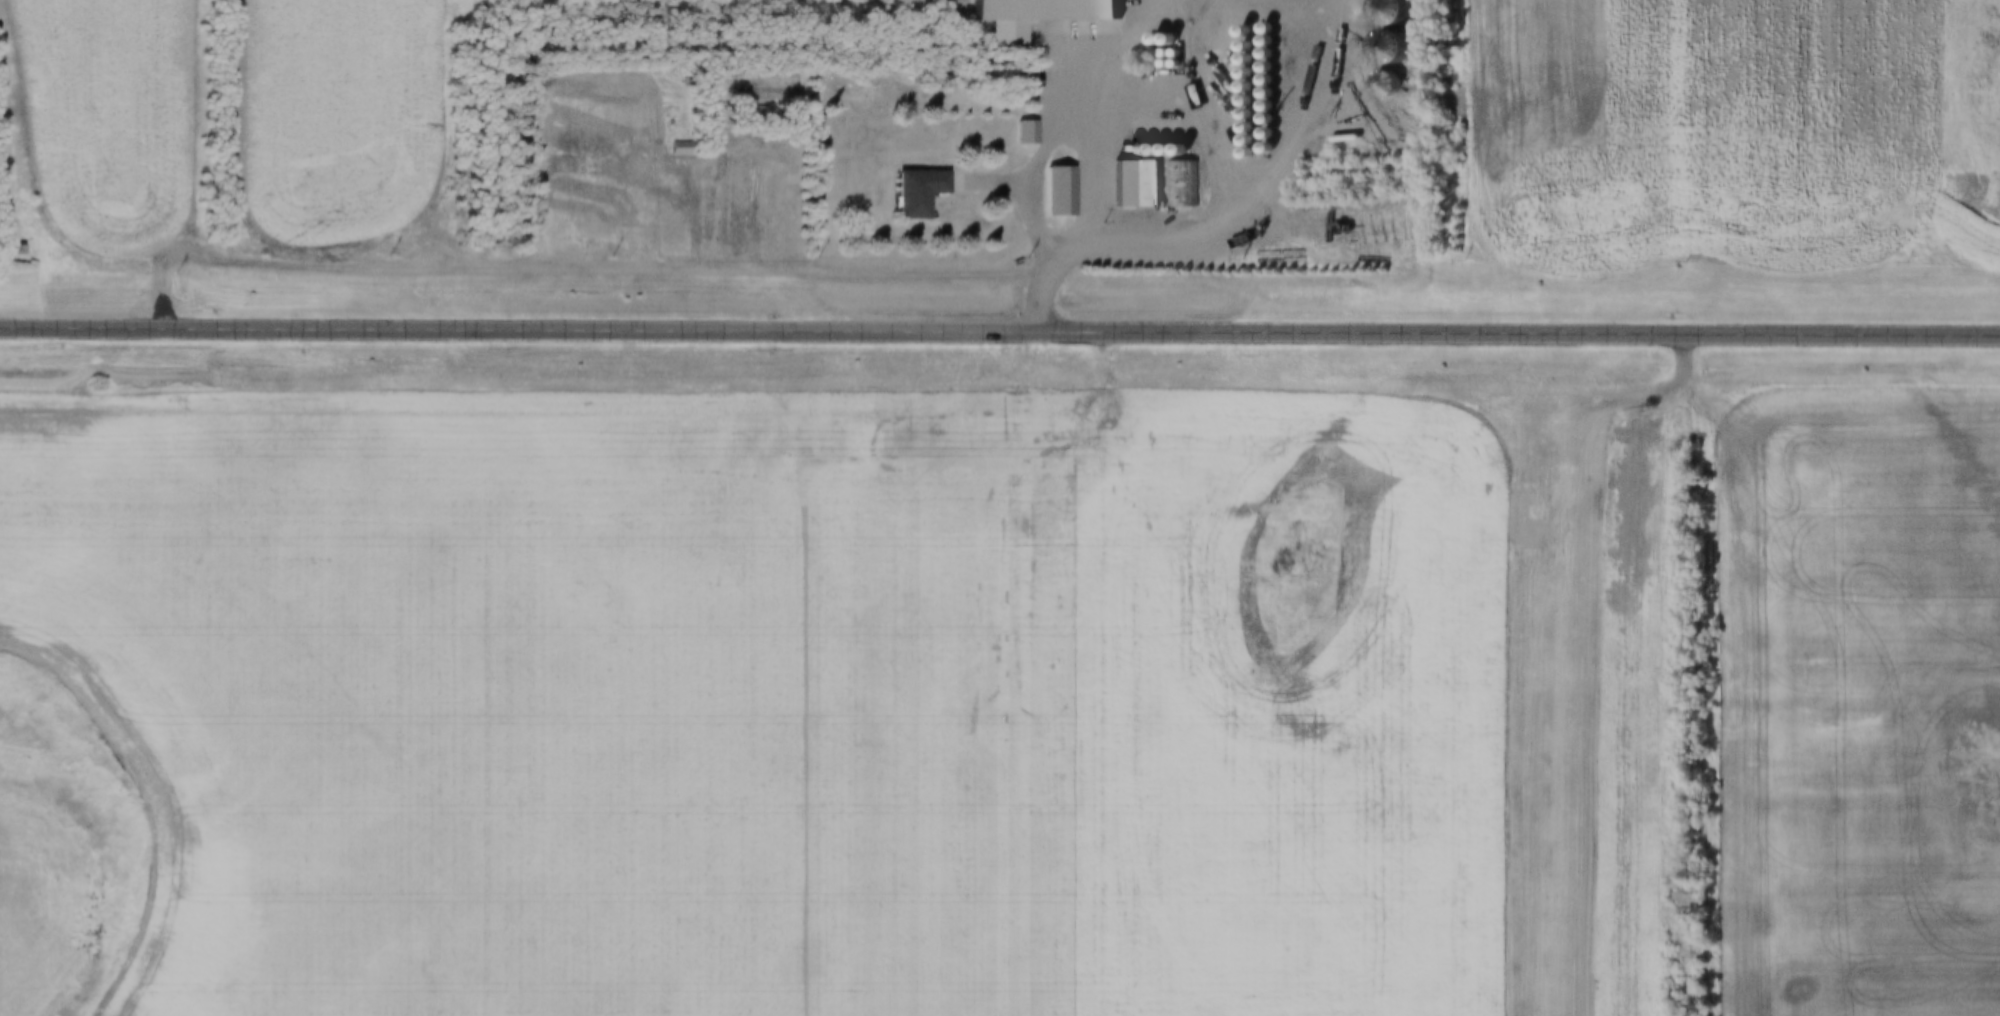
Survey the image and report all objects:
road: (1242, 8)
building: (1038, 10)
building: (1385, 11)
silo: (1385, 11)
building: (1258, 27)
silo: (1258, 27)
building: (1236, 31)
silo: (1236, 31)
building: (1258, 40)
silo: (1258, 40)
building: (1237, 46)
silo: (1237, 46)
building: (1385, 47)
silo: (1385, 47)
storage tank: (1157, 52)
storage tank: (1168, 52)
building: (1258, 53)
silo: (1258, 53)
building: (1237, 60)
silo: (1237, 60)
storage tank: (1157, 62)
storage tank: (1167, 62)
building: (1258, 67)
silo: (1258, 67)
building: (1237, 74)
silo: (1237, 74)
building: (1259, 80)
silo: (1259, 80)
building: (1237, 87)
silo: (1237, 87)
building: (1259, 93)
silo: (1259, 93)
building: (1238, 101)
silo: (1238, 101)
building: (1259, 106)
silo: (1259, 106)
building: (1238, 114)
silo: (1238, 114)
building: (1259, 119)
silo: (1259, 119)
building: (1239, 127)
silo: (1239, 127)
building: (1018, 133)
building: (1259, 133)
silo: (1259, 133)
building: (1239, 141)
silo: (1239, 141)
building: (678, 146)
building: (1259, 148)
silo: (1259, 148)
building: (1122, 150)
silo: (1122, 150)
building: (1135, 150)
silo: (1135, 150)
building: (1148, 150)
silo: (1148, 150)
building: (1161, 150)
silo: (1161, 150)
building: (1173, 150)
silo: (1173, 150)
building: (1239, 153)
silo: (1239, 153)
building: (1110, 184)
building: (1134, 184)
building: (1175, 184)
building: (908, 192)
building: (1049, 192)
building: (7, 250)
road: (78, 325)
road: (462, 327)
road: (1384, 331)
road: (1631, 393)
airport: (1554, 700)
airport runway: (1550, 720)

